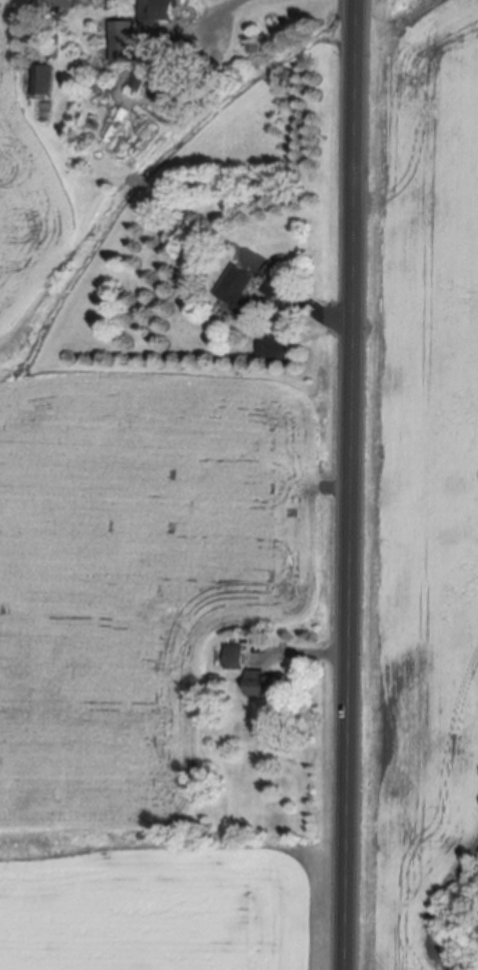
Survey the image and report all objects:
building: (160, 9)
road: (210, 25)
building: (125, 38)
building: (45, 77)
building: (140, 77)
building: (243, 293)
building: (277, 346)
road: (352, 484)
building: (236, 656)
building: (216, 683)
building: (263, 683)

